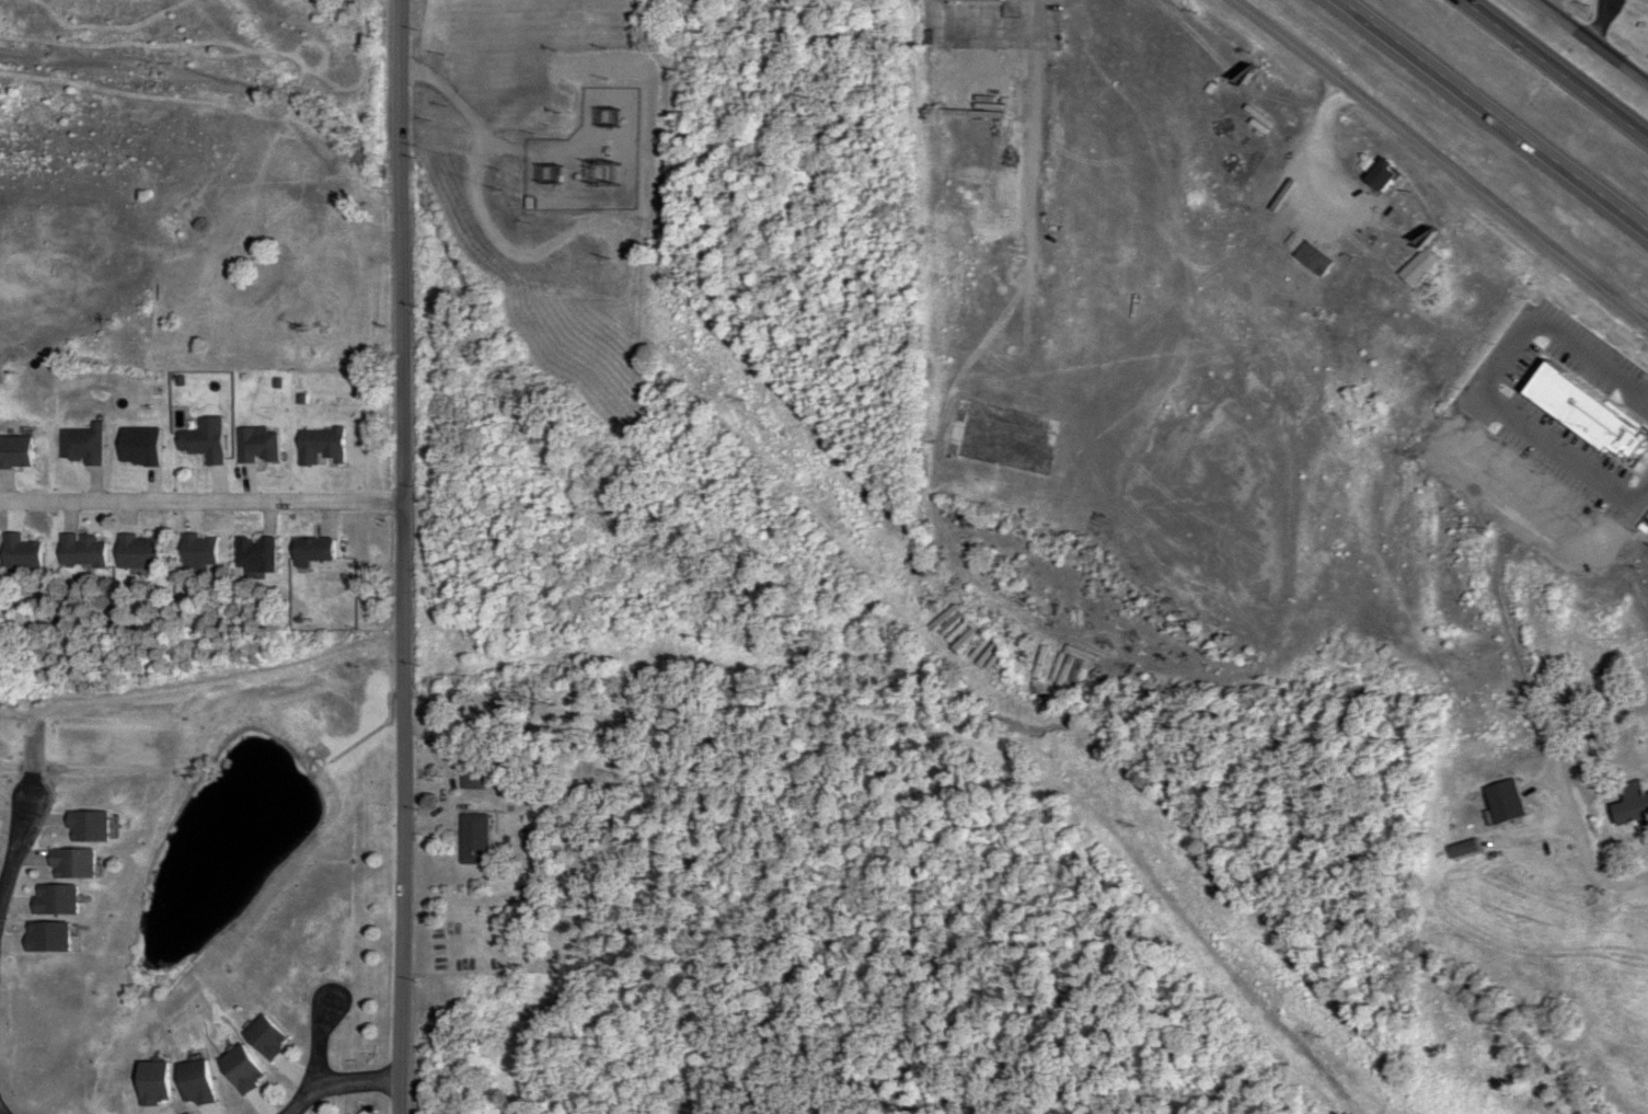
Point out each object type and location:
building: (968, 0)
road: (1602, 24)
road: (1590, 44)
road: (1554, 72)
road: (462, 117)
road: (1490, 117)
power substation: (585, 157)
road: (1440, 162)
building: (1374, 173)
building: (1415, 266)
building: (79, 446)
building: (199, 446)
building: (253, 447)
road: (201, 504)
building: (196, 551)
building: (310, 552)
building: (18, 553)
building: (252, 554)
road: (403, 556)
building: (1632, 804)
building: (471, 838)
road: (14, 852)
building: (69, 862)
building: (51, 899)
building: (44, 937)
building: (262, 1036)
road: (321, 1047)
building: (238, 1068)
building: (192, 1082)
road: (338, 1086)
road: (9, 1105)

